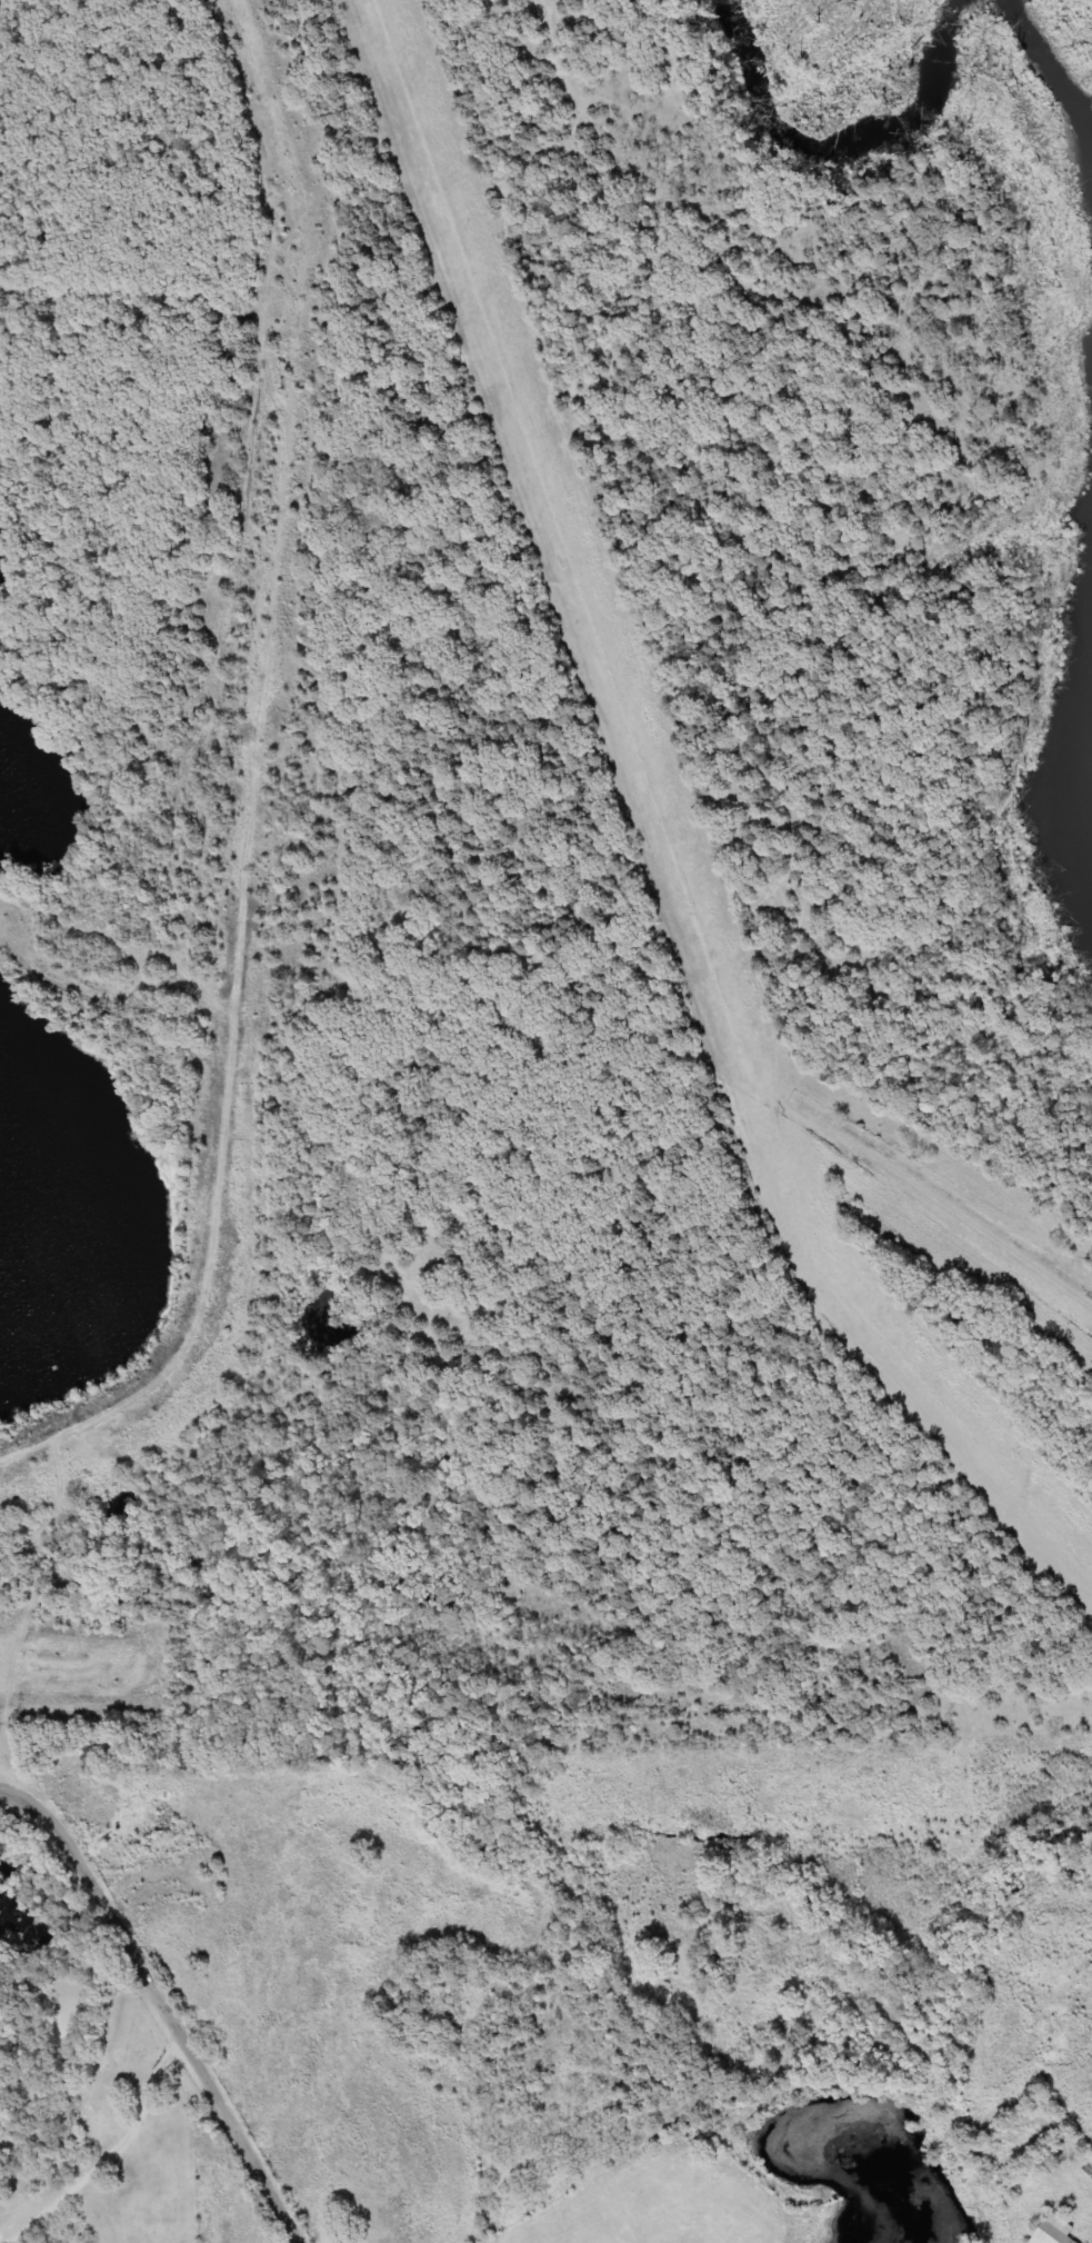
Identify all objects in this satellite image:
road: (167, 2002)
building: (1052, 2231)

